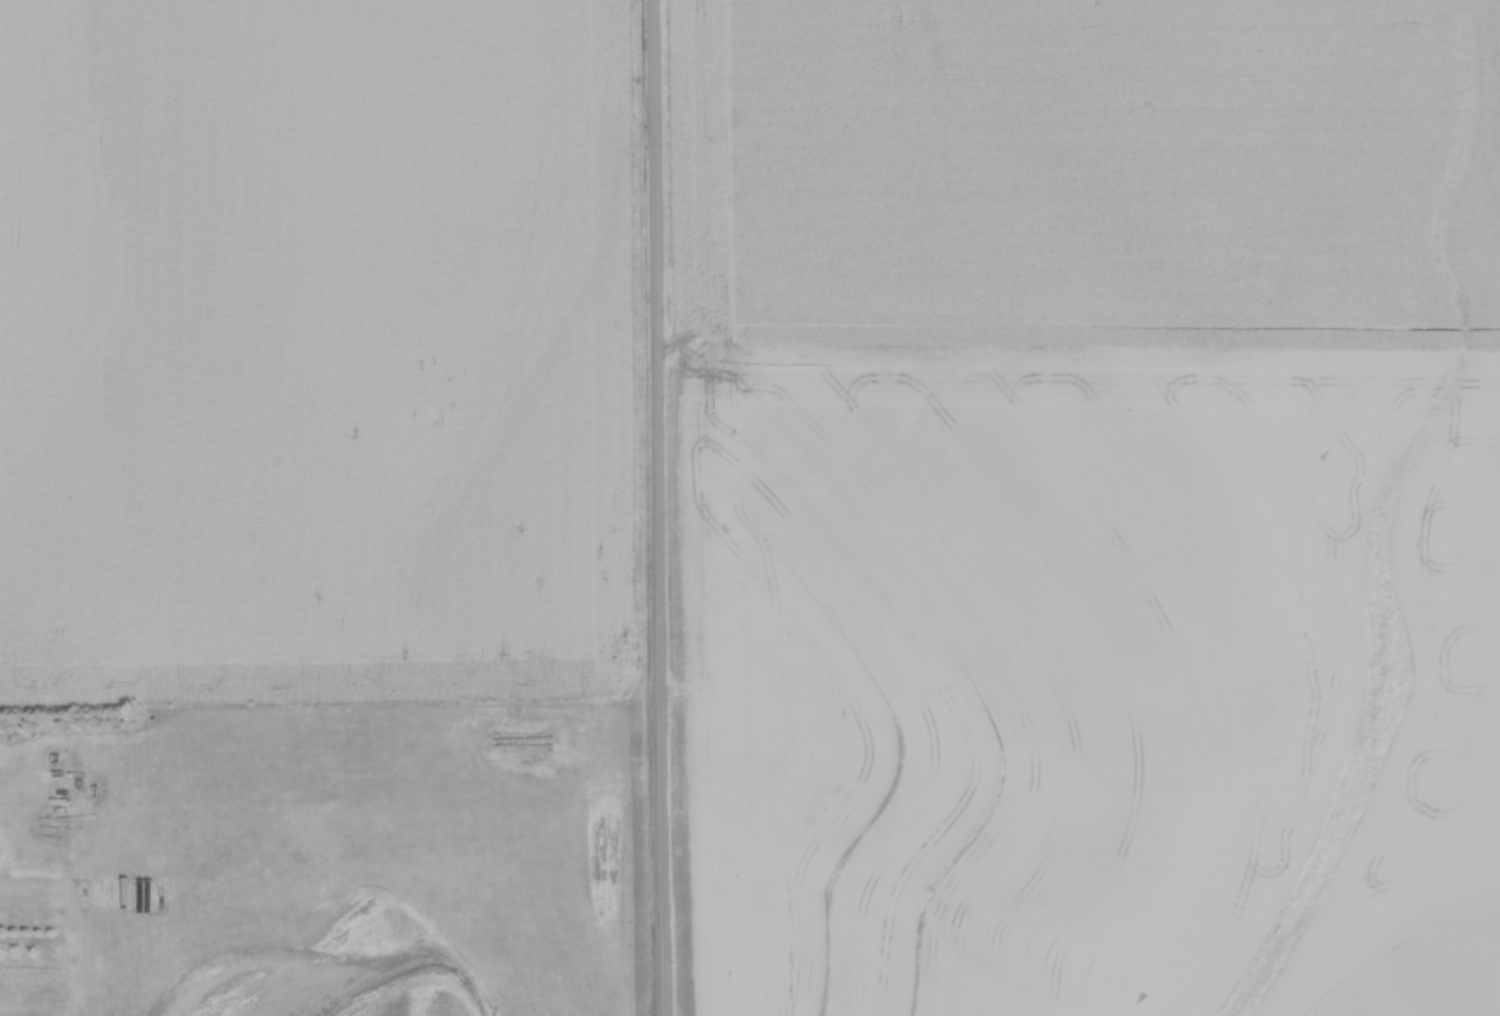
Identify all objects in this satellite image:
road: (651, 508)

